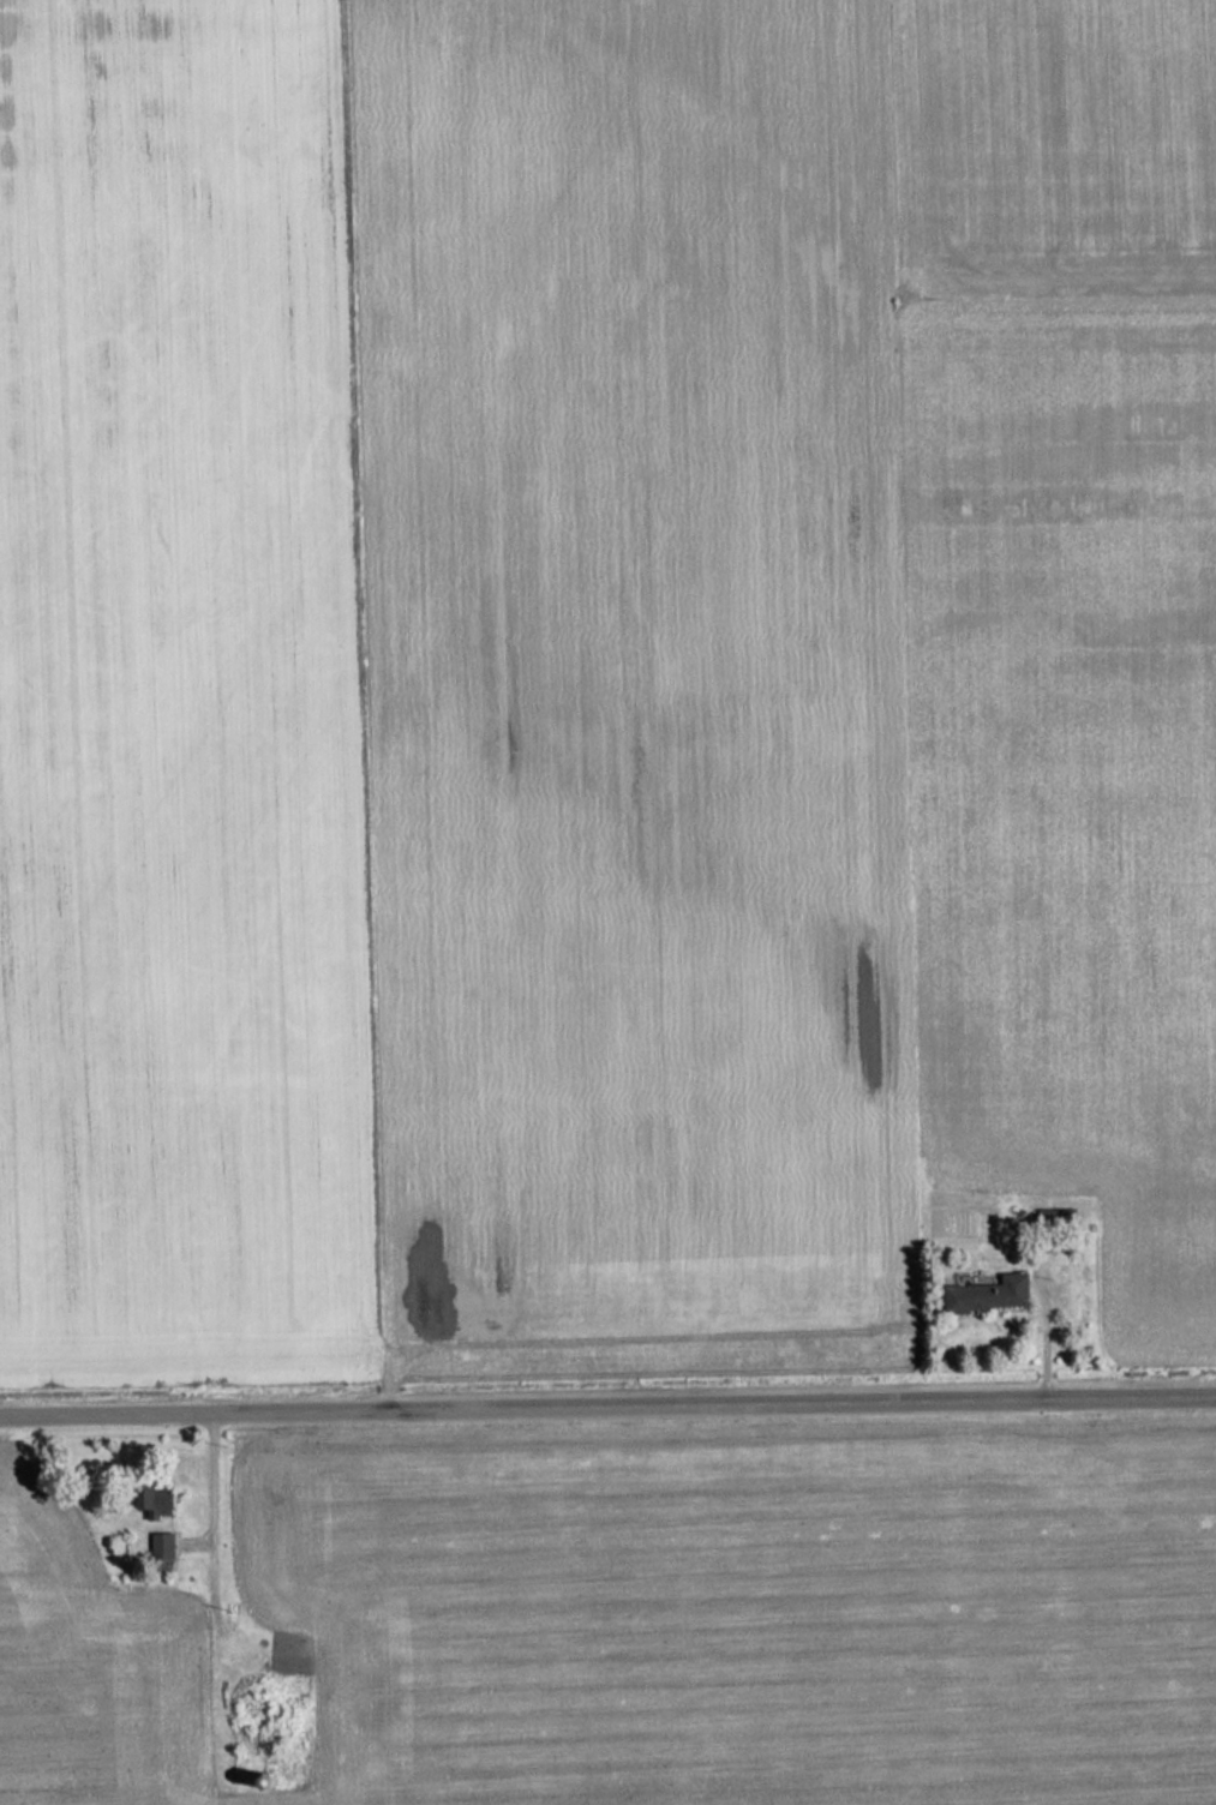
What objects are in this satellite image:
crop: (1052, 149)
crop: (449, 688)
crop: (1066, 779)
building: (983, 1294)
road: (607, 1396)
road: (216, 1480)
building: (157, 1546)
crop: (664, 1624)

